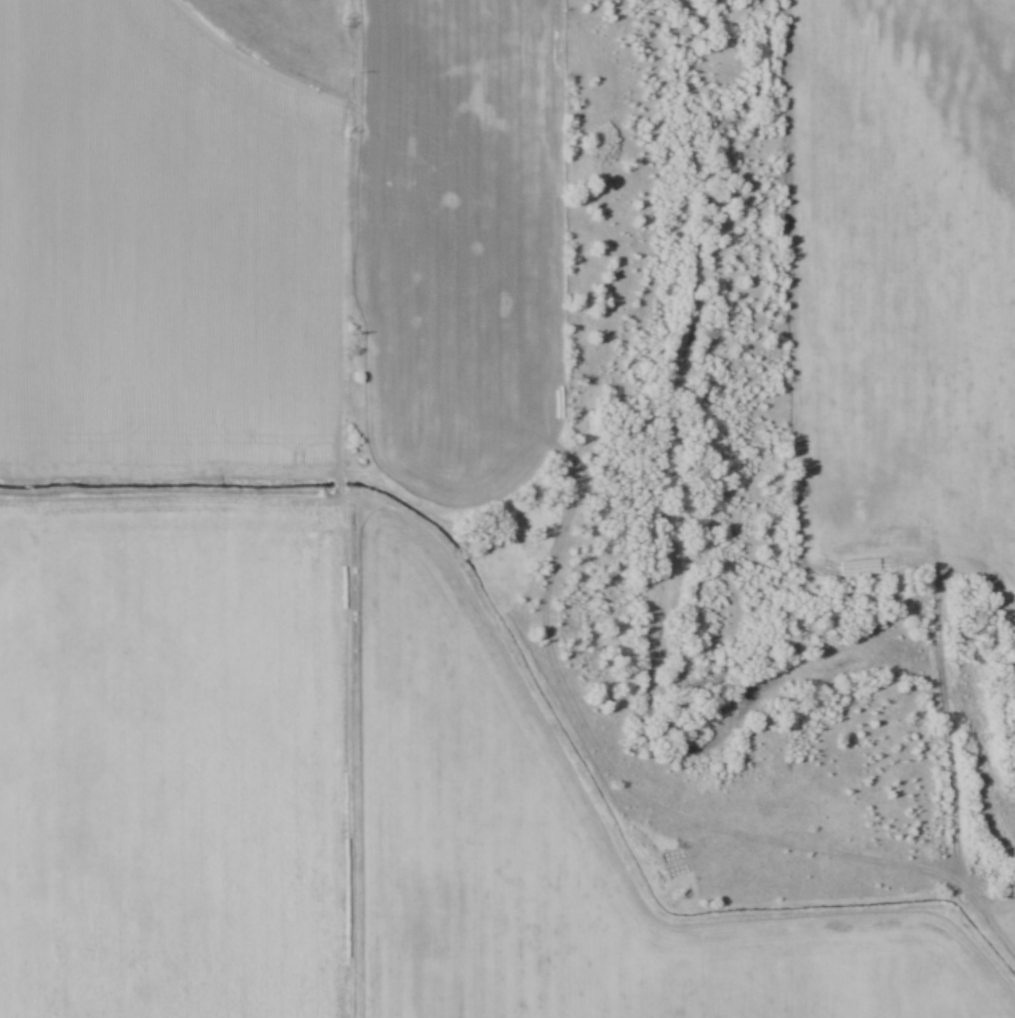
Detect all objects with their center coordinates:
crop: (165, 237)
crop: (899, 289)
road: (940, 701)
road: (616, 775)
crop: (345, 805)

